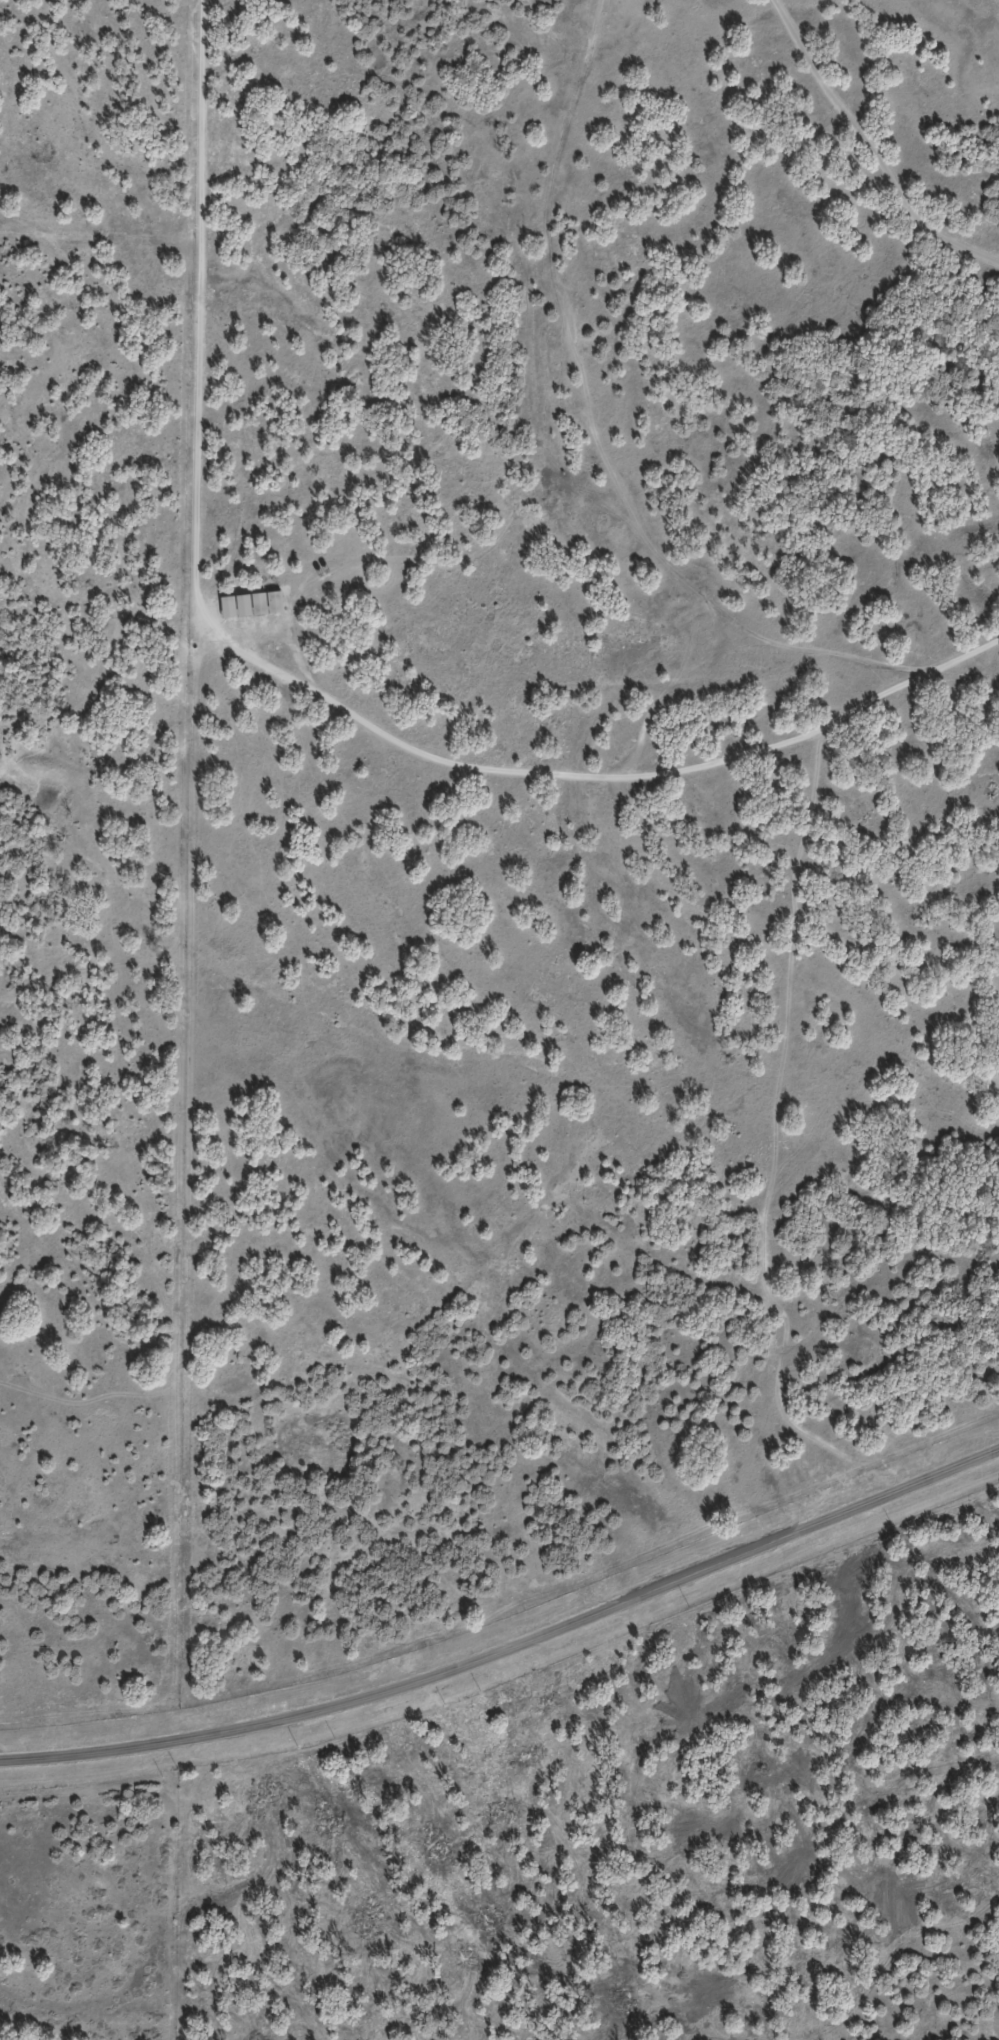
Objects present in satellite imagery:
road: (872, 145)
building: (249, 604)
road: (302, 682)
road: (511, 1655)

